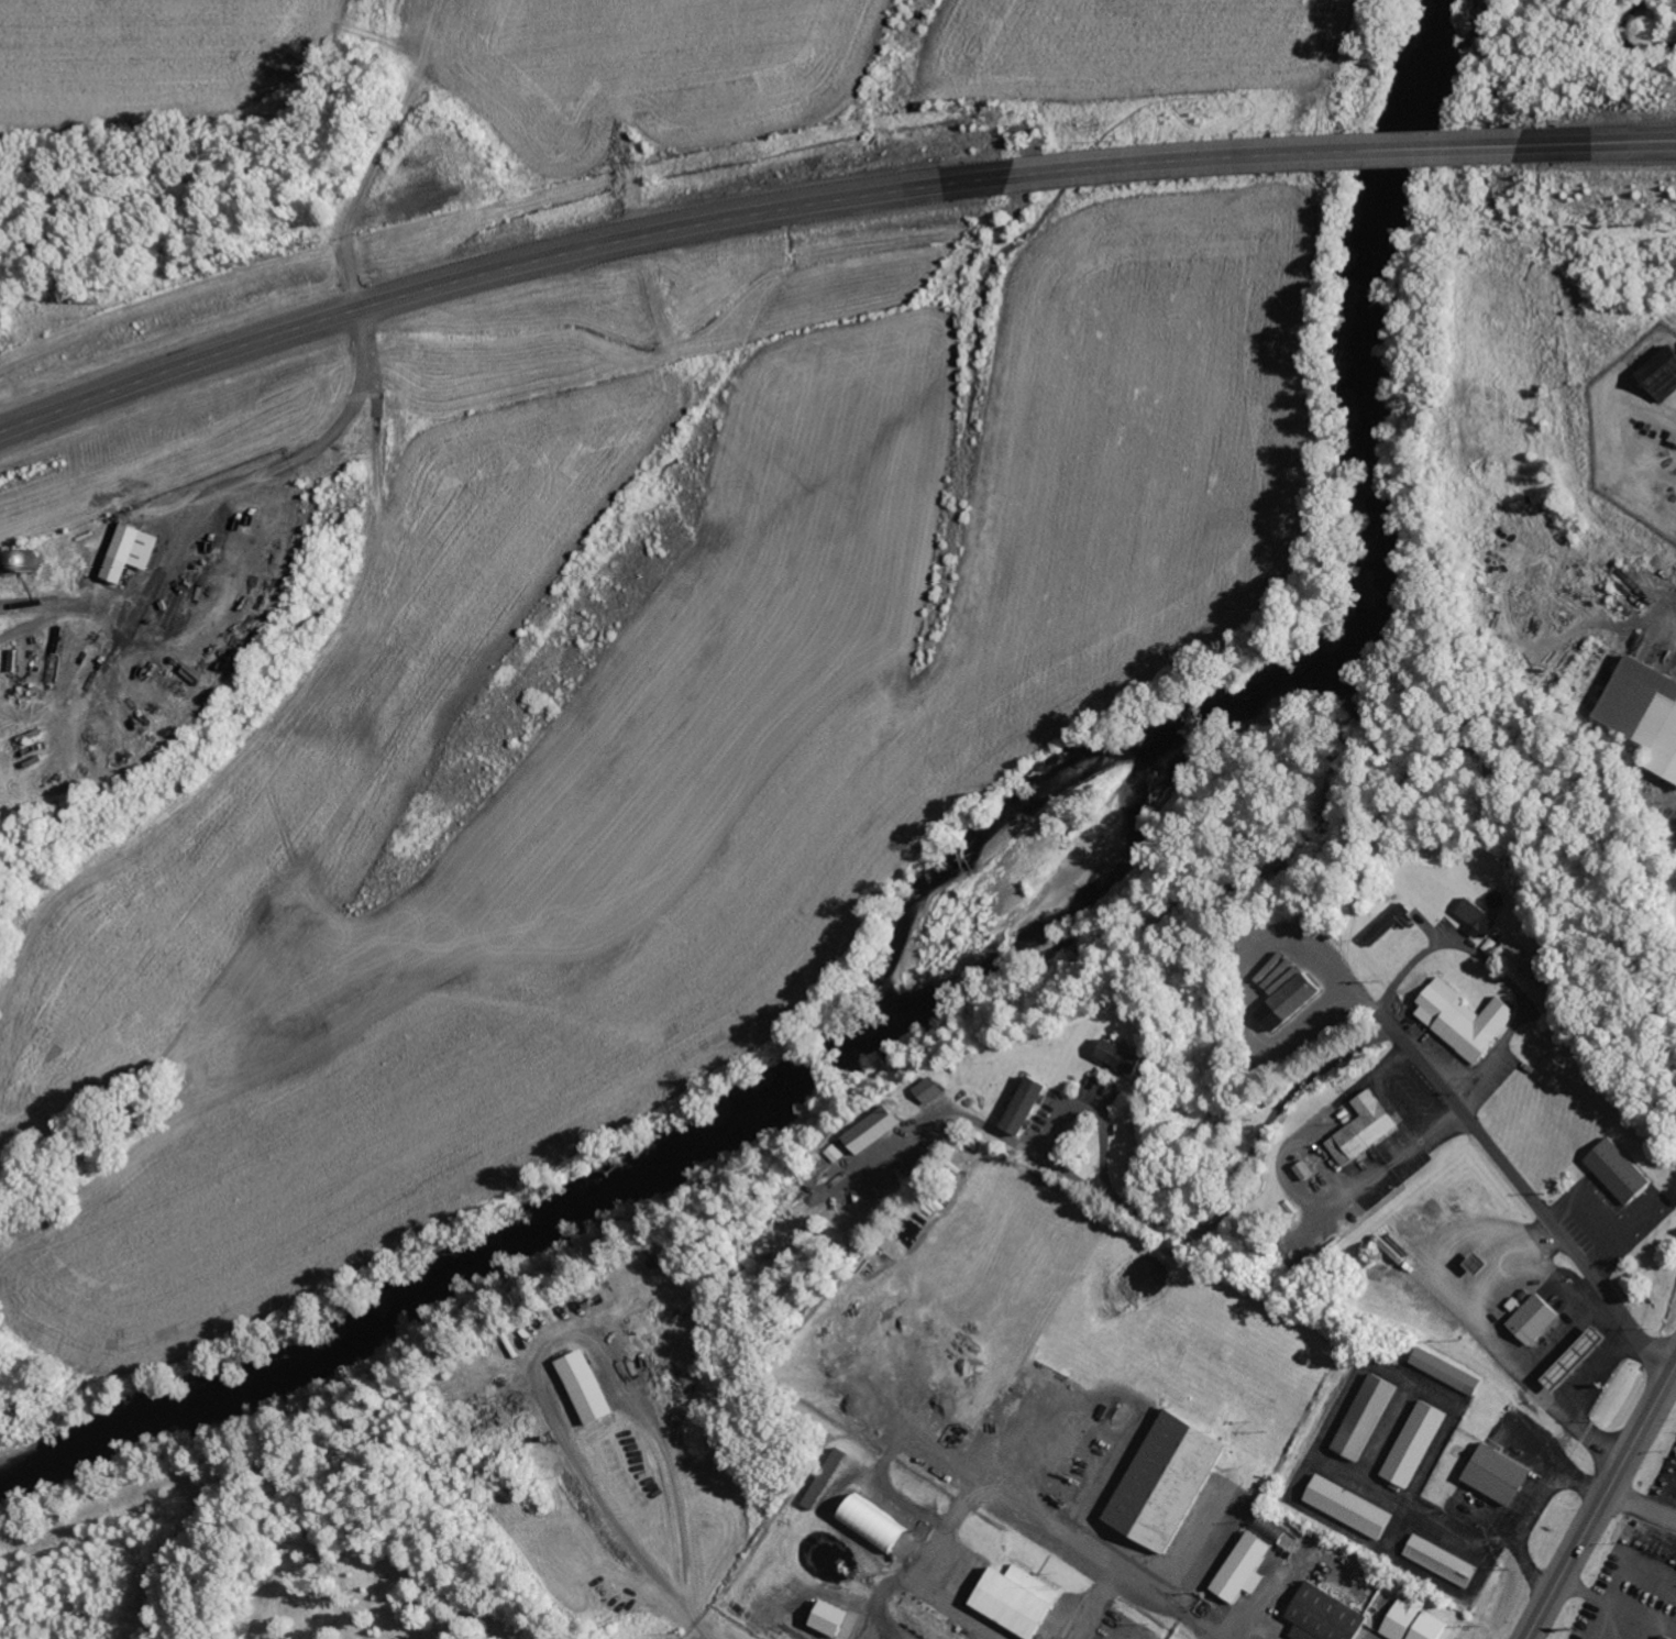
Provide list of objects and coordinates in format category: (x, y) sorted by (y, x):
road: (1606, 143)
road: (1276, 154)
road: (499, 267)
building: (1664, 374)
road: (37, 522)
building: (135, 551)
building: (55, 563)
building: (1647, 706)
building: (1481, 919)
building: (1391, 923)
building: (1528, 961)
building: (1289, 992)
building: (1544, 998)
building: (1469, 1021)
building: (1132, 1057)
road: (1304, 1082)
building: (938, 1090)
building: (1034, 1105)
building: (1367, 1129)
building: (883, 1130)
building: (1623, 1173)
road: (1525, 1195)
building: (1537, 1320)
building: (1581, 1358)
building: (1451, 1372)
building: (593, 1388)
building: (1370, 1417)
building: (1420, 1444)
building: (1503, 1476)
building: (1173, 1482)
road: (1601, 1503)
building: (1354, 1508)
building: (879, 1528)
building: (1253, 1562)
building: (1445, 1562)
road: (1138, 1584)
building: (1022, 1602)
building: (1327, 1616)
building: (838, 1620)
building: (1420, 1621)
building: (1671, 1638)

